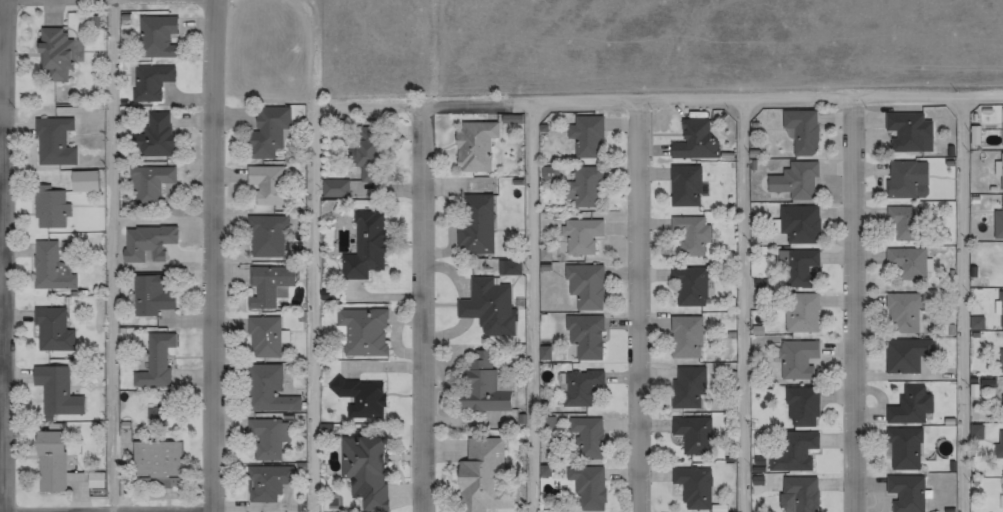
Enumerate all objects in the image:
building: (155, 36)
building: (57, 54)
road: (221, 60)
building: (148, 81)
road: (662, 102)
building: (799, 130)
building: (907, 131)
building: (265, 132)
building: (1002, 134)
building: (154, 135)
building: (584, 135)
building: (690, 140)
building: (53, 142)
building: (472, 146)
building: (1001, 172)
building: (905, 179)
building: (794, 180)
building: (147, 184)
building: (266, 184)
building: (683, 185)
building: (584, 187)
building: (49, 207)
building: (1002, 218)
building: (902, 222)
building: (474, 223)
building: (797, 224)
building: (580, 235)
building: (690, 235)
building: (264, 237)
building: (363, 247)
road: (321, 254)
road: (9, 255)
road: (119, 255)
building: (905, 263)
building: (51, 266)
building: (797, 267)
building: (267, 285)
building: (583, 285)
building: (688, 285)
building: (150, 295)
road: (968, 305)
building: (486, 306)
road: (749, 306)
road: (857, 306)
road: (646, 307)
road: (427, 308)
road: (539, 308)
building: (1000, 309)
building: (800, 312)
building: (902, 312)
road: (220, 315)
building: (51, 330)
building: (358, 332)
building: (584, 336)
building: (262, 337)
building: (684, 337)
building: (905, 354)
building: (795, 359)
building: (1000, 360)
building: (155, 361)
building: (480, 385)
building: (578, 386)
building: (687, 387)
building: (265, 389)
building: (55, 391)
building: (360, 397)
building: (909, 405)
building: (800, 406)
building: (690, 434)
building: (584, 437)
building: (266, 438)
building: (998, 443)
building: (901, 448)
building: (791, 451)
building: (48, 460)
building: (153, 461)
building: (360, 470)
building: (480, 475)
building: (268, 483)
building: (586, 487)
building: (692, 487)
building: (800, 493)
building: (904, 493)

